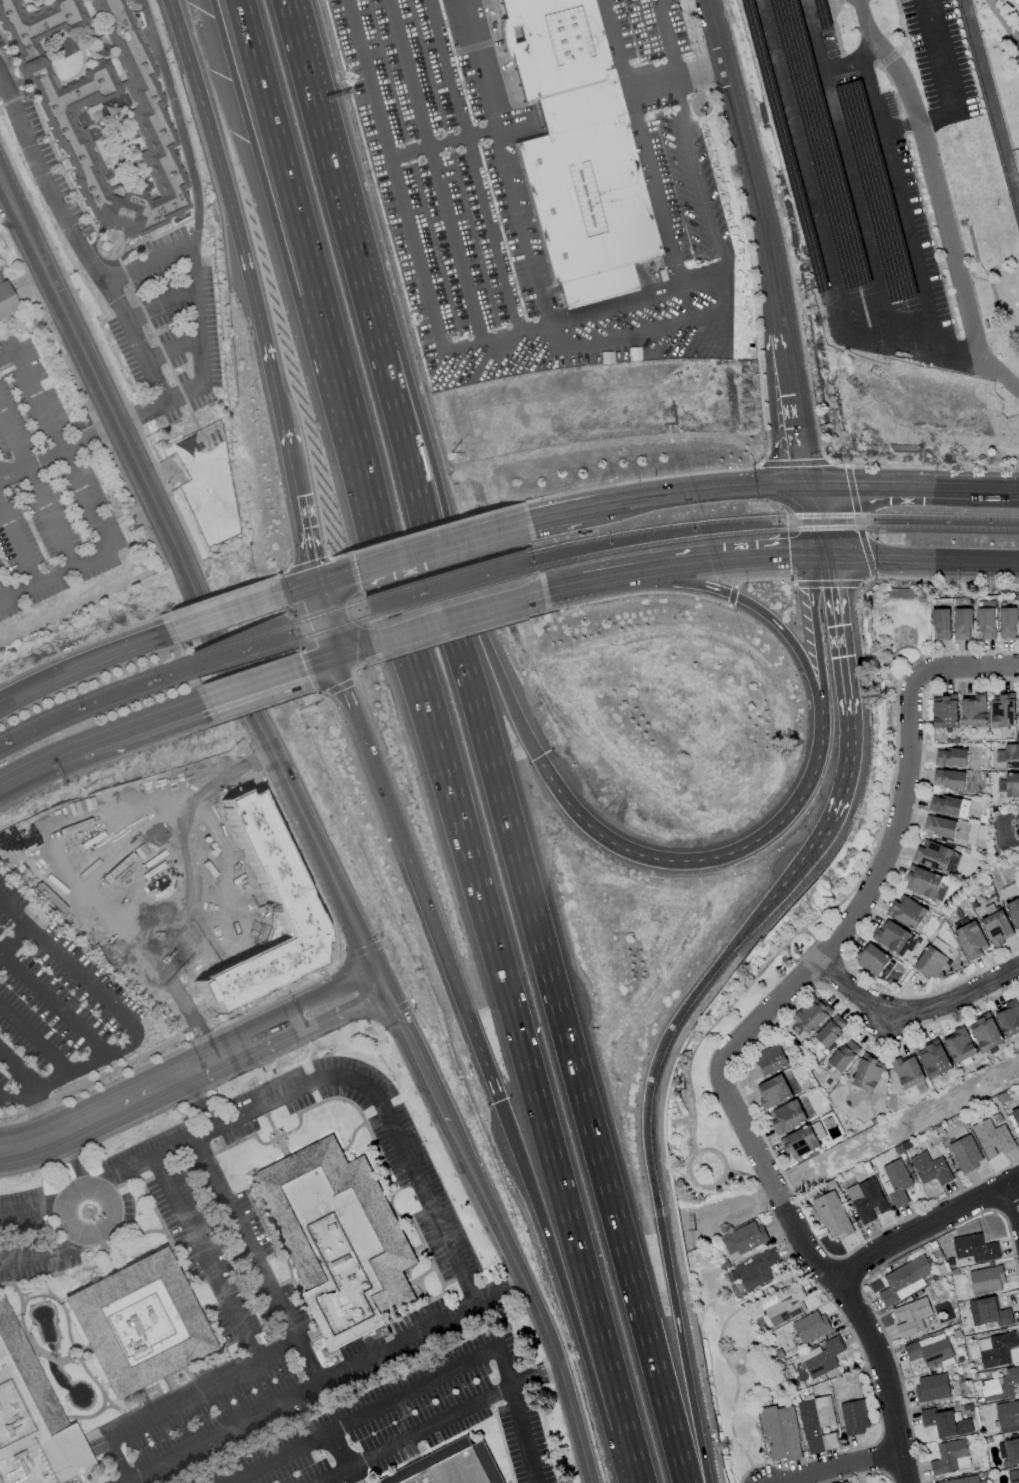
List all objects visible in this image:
building: (1016, 4)
road: (1000, 15)
road: (939, 55)
road: (852, 61)
road: (669, 79)
road: (2, 81)
road: (576, 106)
building: (60, 119)
road: (518, 121)
road: (918, 121)
road: (178, 122)
road: (444, 142)
building: (576, 151)
road: (216, 153)
road: (474, 165)
road: (848, 169)
road: (435, 171)
road: (332, 175)
road: (931, 177)
road: (3, 195)
road: (659, 203)
road: (901, 203)
road: (821, 229)
road: (410, 233)
road: (76, 239)
road: (768, 239)
road: (148, 263)
road: (702, 276)
building: (5, 301)
road: (161, 304)
road: (196, 313)
road: (617, 336)
road: (173, 350)
road: (7, 357)
road: (270, 362)
road: (159, 404)
road: (344, 443)
road: (62, 452)
road: (59, 453)
road: (121, 477)
traffic signals: (854, 486)
road: (869, 486)
parking lot: (52, 487)
road: (977, 488)
road: (36, 490)
road: (695, 492)
road: (299, 501)
road: (562, 514)
railway: (779, 517)
road: (819, 521)
road: (807, 522)
railway: (781, 530)
road: (445, 545)
road: (17, 548)
traffic signals: (793, 560)
road: (915, 560)
traffic signals: (311, 562)
road: (731, 564)
road: (461, 567)
traffic signals: (356, 572)
railway: (453, 575)
road: (54, 576)
road: (336, 578)
road: (191, 579)
road: (617, 579)
traffic signals: (835, 585)
road: (302, 589)
road: (568, 589)
railway: (457, 591)
railway: (333, 611)
road: (228, 614)
road: (463, 617)
road: (326, 620)
building: (986, 622)
building: (1007, 623)
building: (941, 624)
building: (962, 624)
road: (780, 626)
railway: (337, 627)
railway: (242, 641)
road: (911, 647)
road: (355, 650)
road: (969, 653)
railway: (248, 657)
road: (329, 658)
road: (820, 658)
traffic signals: (322, 661)
road: (83, 667)
road: (913, 670)
road: (895, 675)
road: (262, 681)
railway: (90, 695)
building: (1018, 704)
road: (850, 708)
building: (973, 710)
building: (944, 711)
building: (1001, 711)
railway: (92, 713)
road: (437, 713)
road: (139, 722)
building: (1012, 755)
building: (950, 757)
road: (37, 762)
road: (905, 774)
building: (948, 778)
road: (892, 782)
building: (1012, 784)
building: (944, 805)
building: (1017, 821)
building: (939, 825)
building: (976, 835)
building: (936, 857)
road: (693, 861)
building: (269, 865)
road: (419, 879)
road: (788, 881)
building: (921, 881)
building: (907, 911)
building: (1014, 912)
road: (533, 916)
building: (995, 924)
road: (812, 936)
building: (894, 938)
building: (969, 938)
road: (13, 940)
road: (813, 954)
building: (872, 959)
road: (794, 960)
building: (930, 962)
road: (326, 987)
road: (52, 1003)
parking lot: (60, 1004)
road: (913, 1011)
road: (340, 1014)
building: (810, 1016)
road: (125, 1017)
building: (1008, 1017)
road: (712, 1026)
building: (830, 1031)
park: (710, 1032)
building: (985, 1032)
road: (34, 1039)
building: (959, 1045)
road: (240, 1048)
road: (414, 1053)
building: (844, 1055)
building: (771, 1059)
building: (934, 1059)
road: (18, 1069)
building: (907, 1071)
building: (866, 1073)
road: (342, 1077)
building: (773, 1091)
road: (738, 1111)
road: (42, 1112)
building: (1015, 1113)
building: (786, 1116)
road: (96, 1117)
building: (992, 1138)
building: (800, 1141)
building: (965, 1153)
road: (76, 1159)
building: (930, 1168)
road: (56, 1169)
road: (653, 1181)
building: (895, 1182)
road: (696, 1183)
building: (869, 1201)
road: (66, 1208)
road: (1012, 1208)
road: (33, 1212)
building: (832, 1215)
road: (923, 1225)
building: (744, 1238)
building: (338, 1239)
building: (975, 1248)
road: (45, 1251)
road: (259, 1260)
road: (206, 1261)
road: (564, 1266)
building: (756, 1269)
building: (904, 1280)
building: (986, 1280)
road: (532, 1300)
building: (785, 1306)
building: (988, 1312)
building: (911, 1316)
building: (137, 1323)
building: (811, 1327)
building: (930, 1350)
building: (998, 1350)
road: (721, 1354)
building: (822, 1357)
road: (534, 1373)
road: (883, 1377)
road: (327, 1383)
building: (1000, 1385)
building: (932, 1387)
road: (185, 1401)
road: (518, 1415)
building: (1008, 1415)
building: (854, 1416)
road: (365, 1417)
building: (31, 1419)
building: (945, 1422)
building: (817, 1424)
building: (780, 1433)
building: (1018, 1433)
road: (413, 1434)
road: (344, 1449)
building: (1009, 1452)
road: (629, 1456)
building: (951, 1457)
building: (451, 1466)
road: (845, 1468)
building: (1013, 1476)
building: (963, 1480)
building: (846, 1482)

